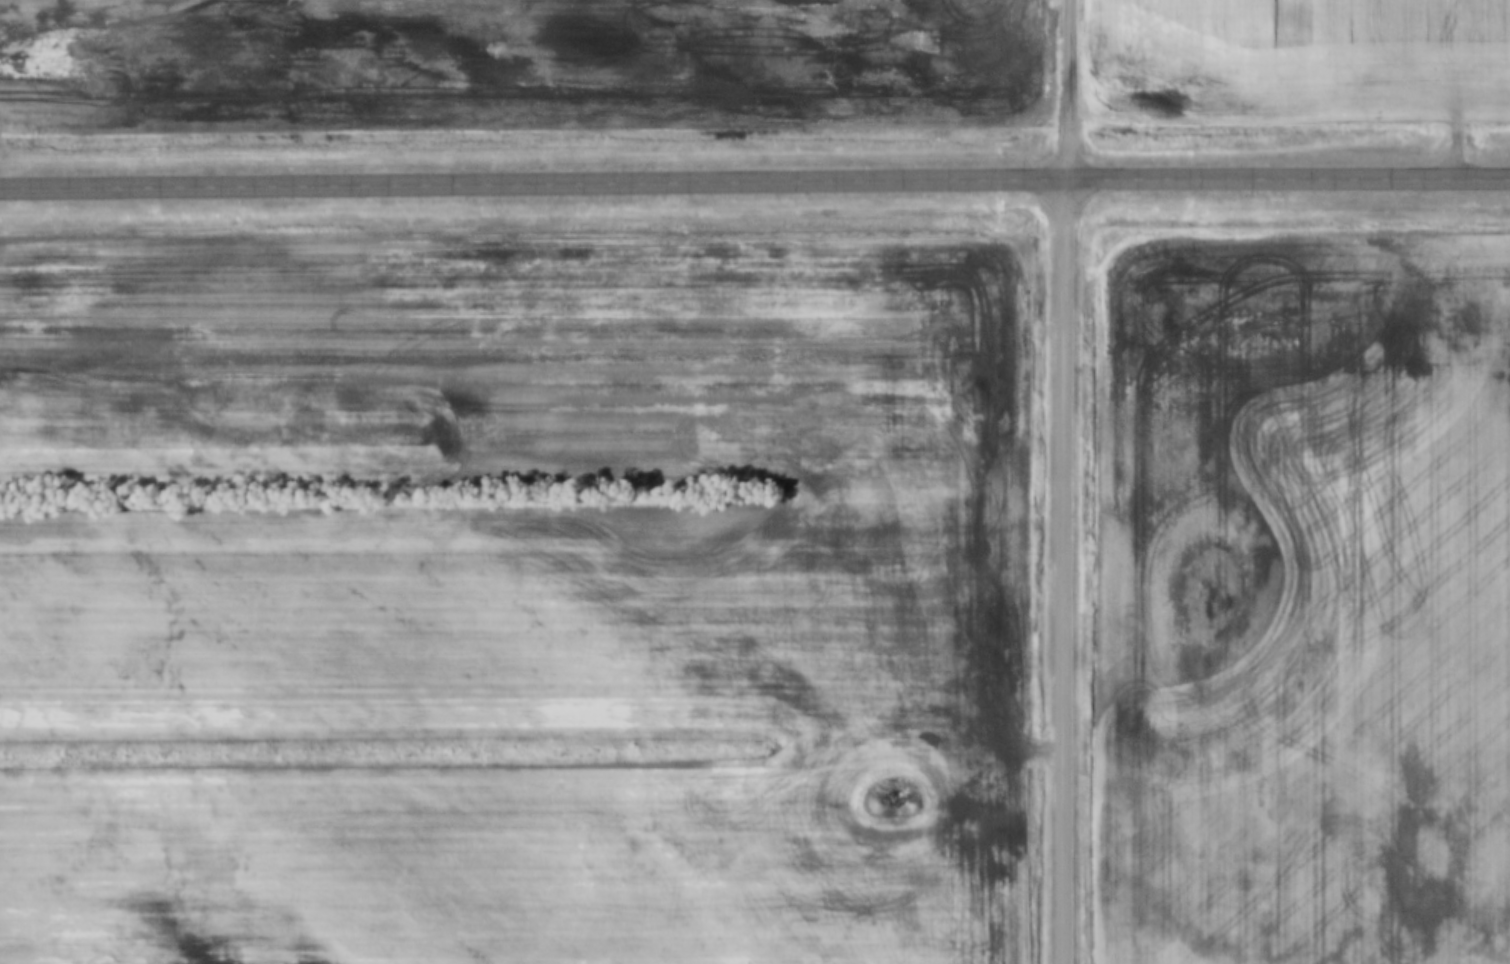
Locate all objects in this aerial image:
road: (1070, 87)
road: (754, 176)
road: (1064, 569)

